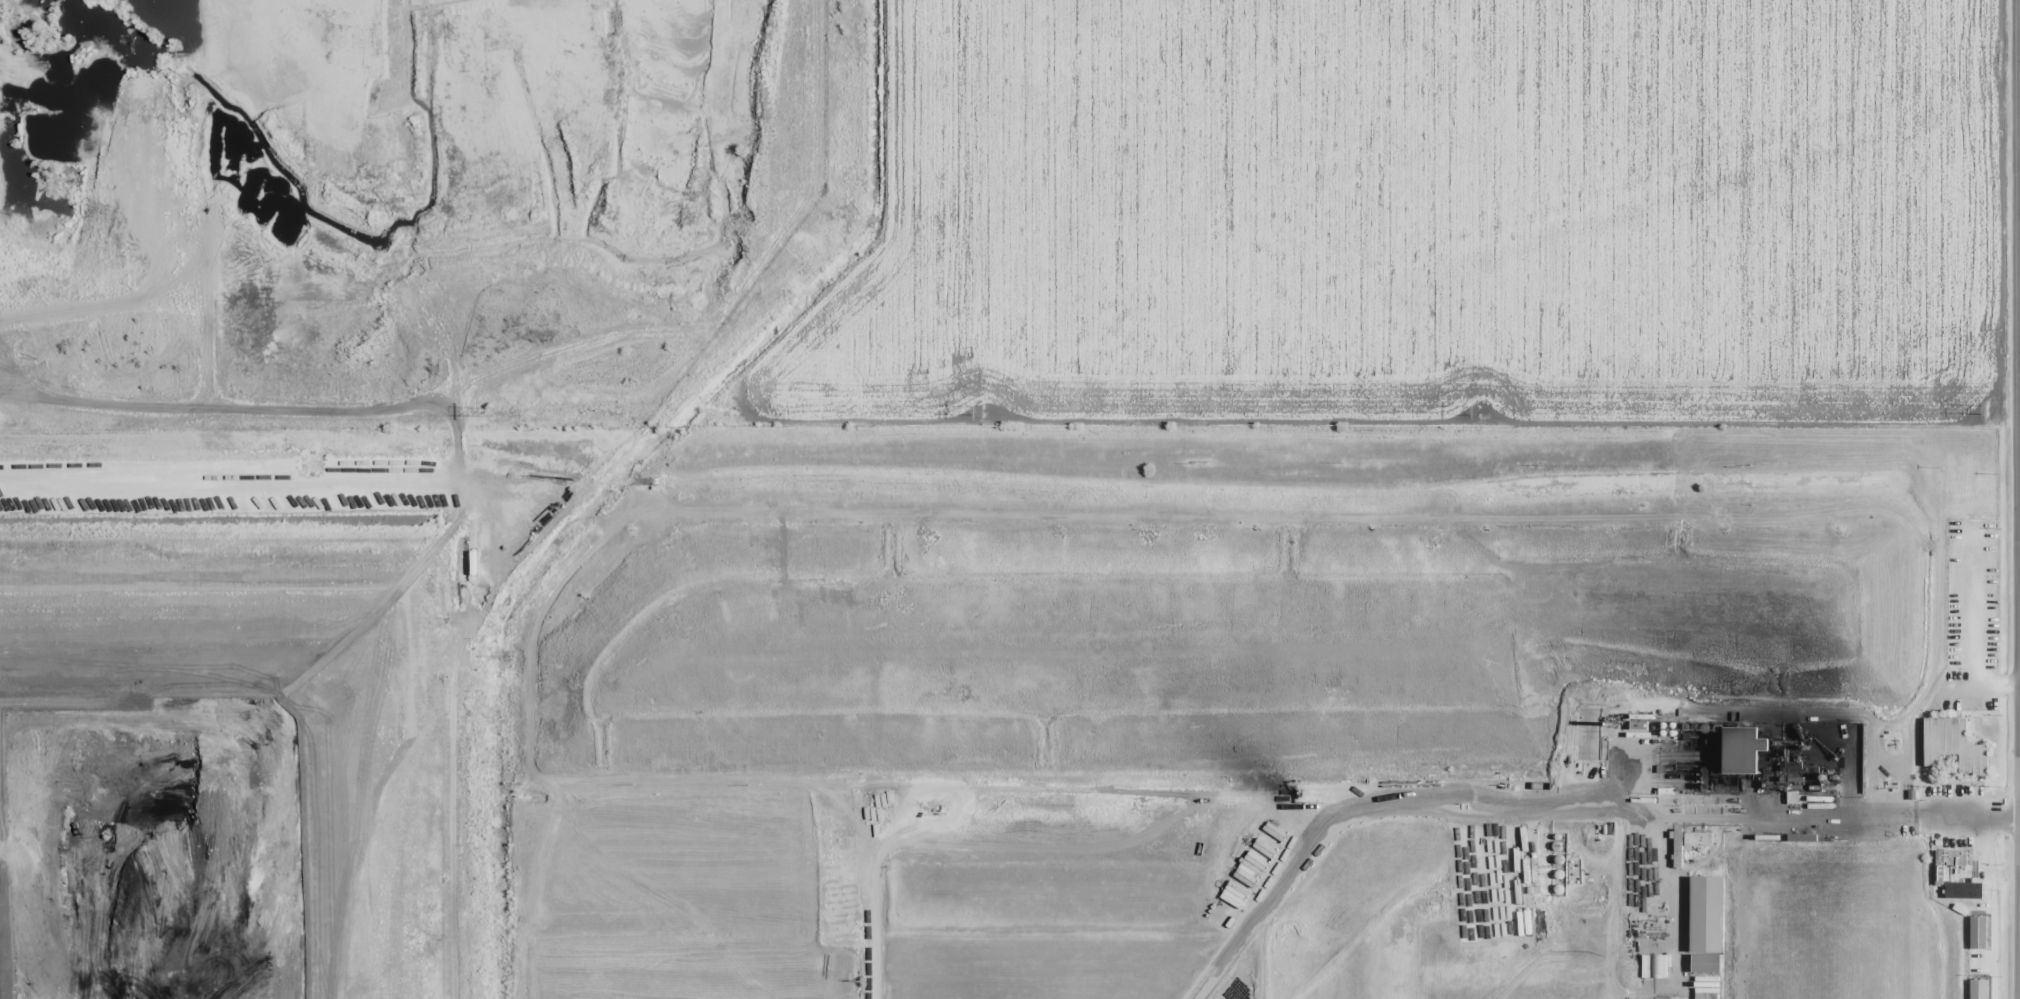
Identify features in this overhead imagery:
power tower: (1479, 410)
power tower: (990, 412)
power tower: (494, 413)
power tower: (1987, 413)
road: (2009, 499)
building: (1639, 727)
building: (1953, 746)
building: (1741, 752)
building: (1689, 844)
building: (1948, 863)
building: (1706, 916)

